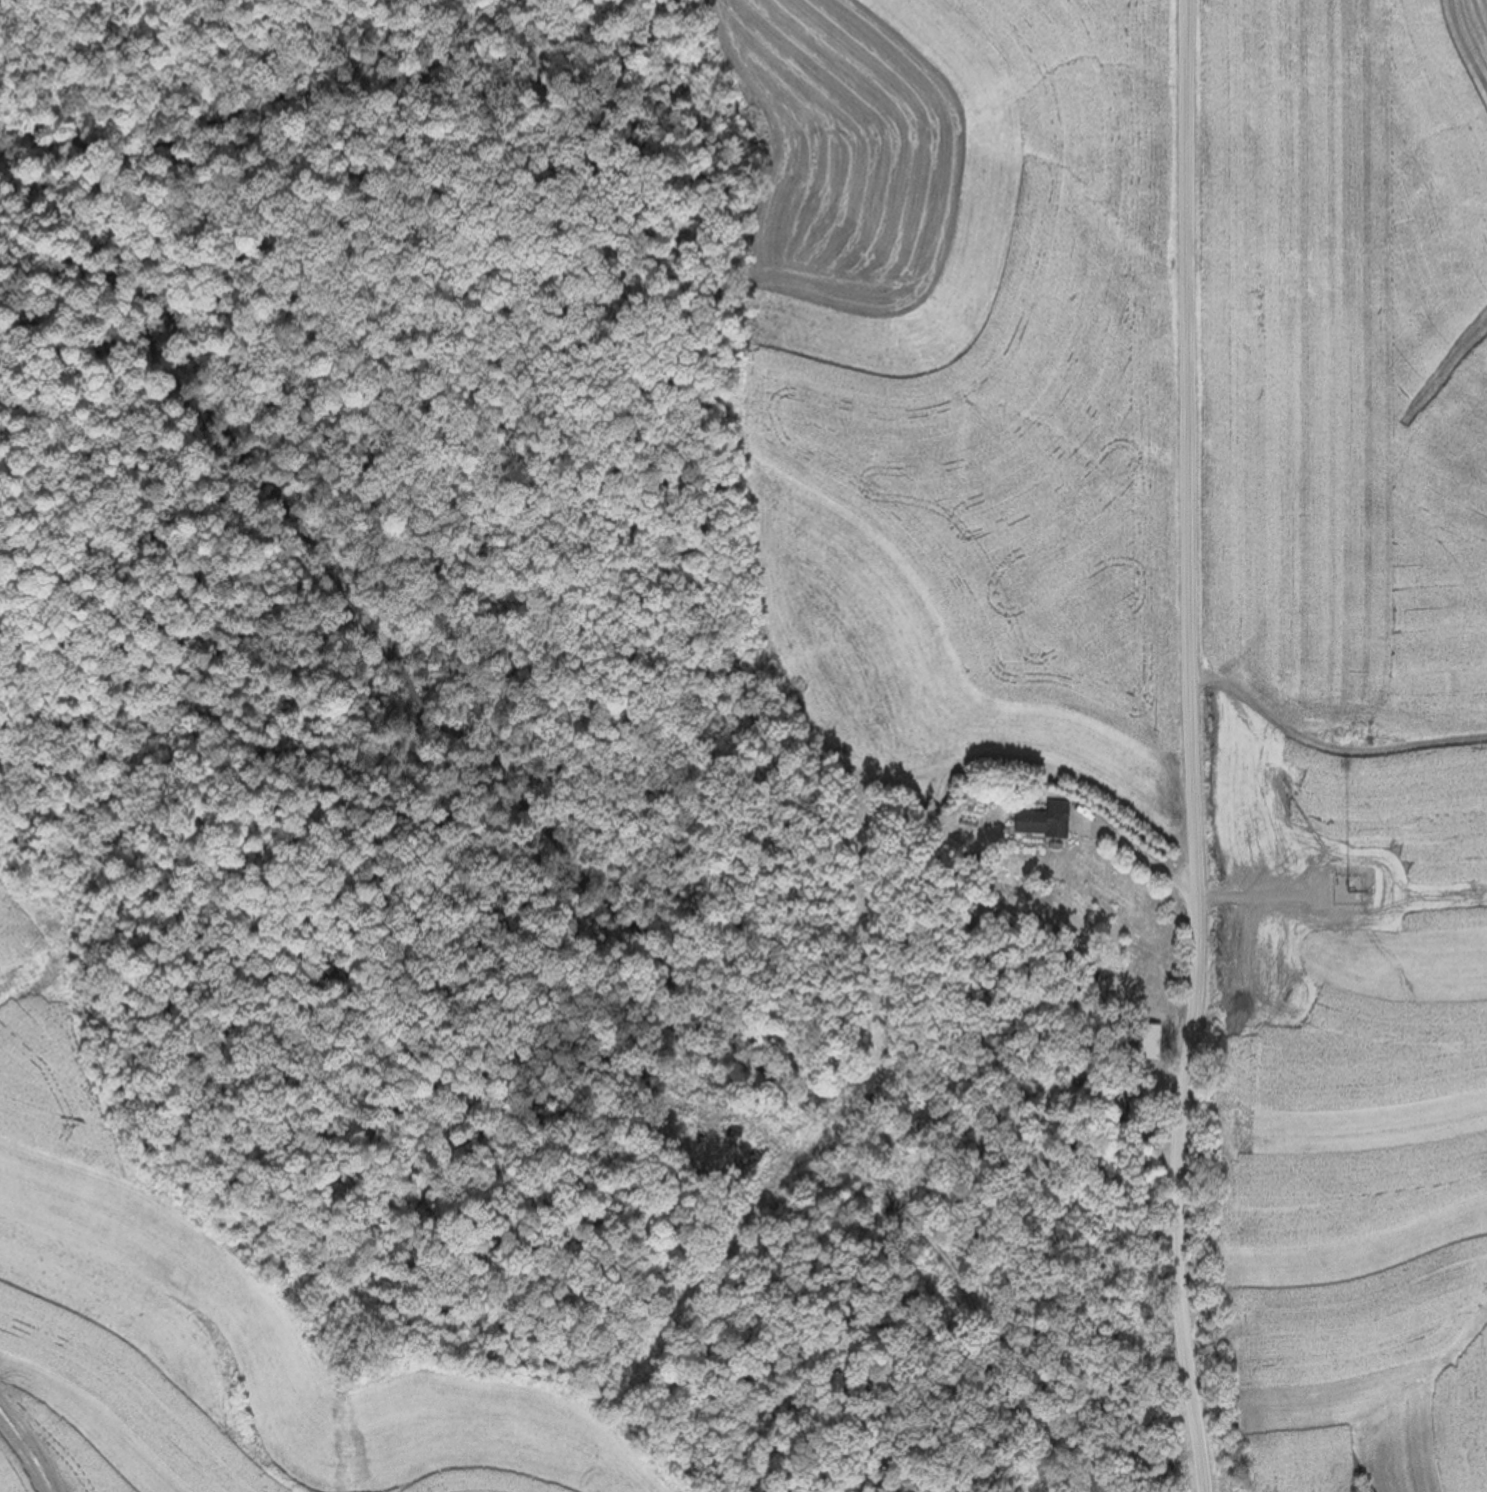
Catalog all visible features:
road: (1189, 748)
building: (1037, 820)
road: (1145, 857)
building: (1151, 1040)

